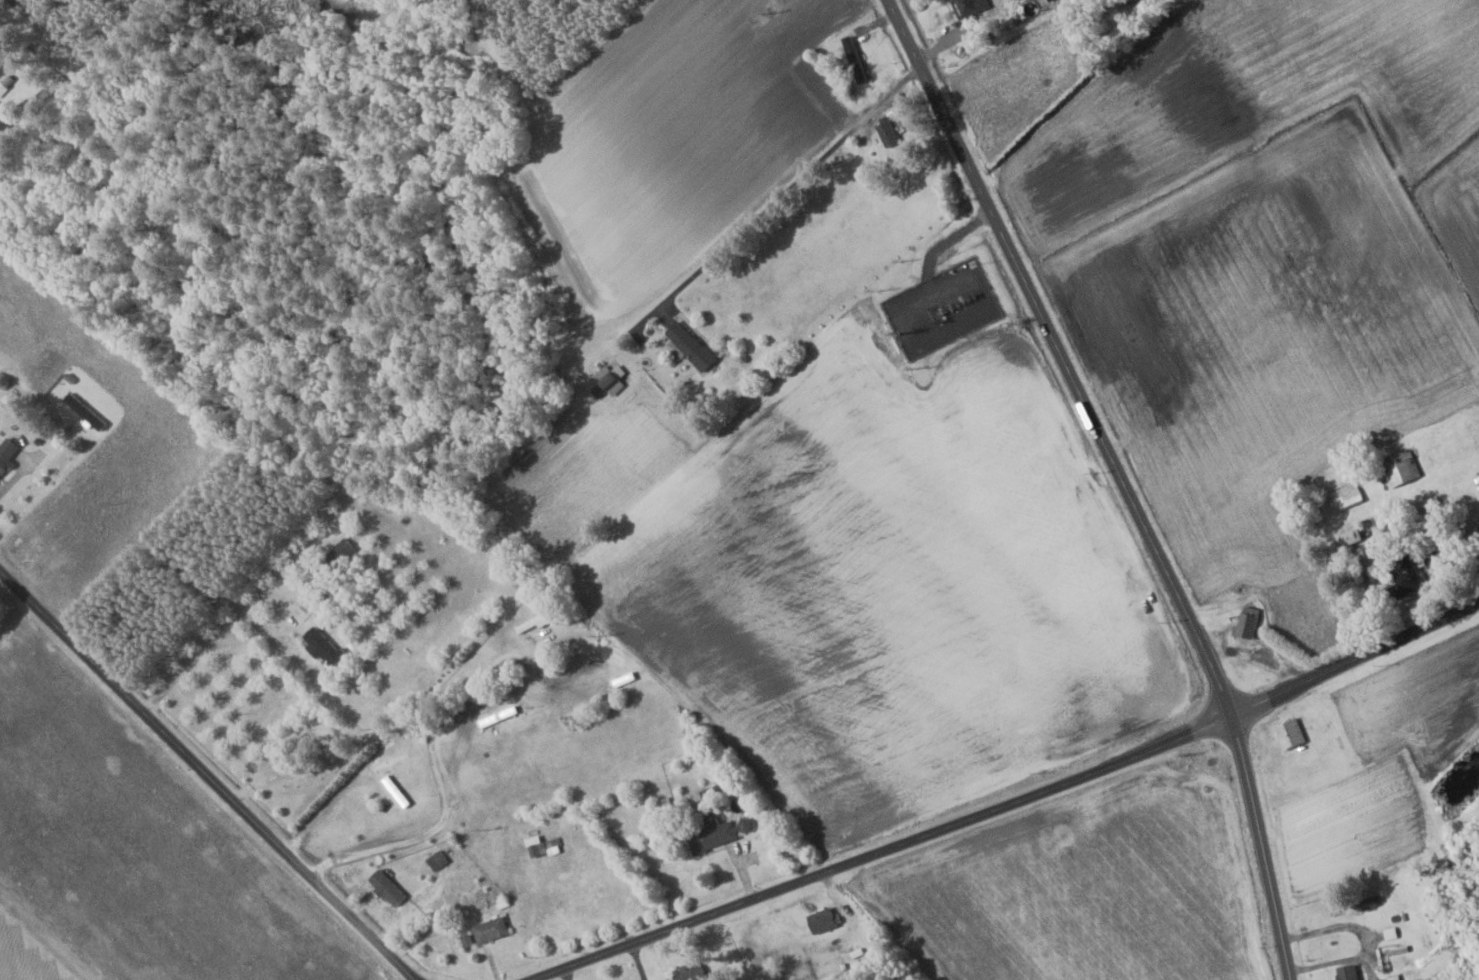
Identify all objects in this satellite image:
building: (967, 7)
building: (855, 64)
building: (885, 131)
building: (686, 345)
building: (9, 455)
building: (1398, 466)
road: (1121, 478)
building: (1344, 497)
building: (1348, 535)
building: (336, 553)
building: (1405, 575)
building: (1245, 622)
building: (530, 623)
building: (317, 642)
building: (622, 678)
building: (495, 716)
building: (1288, 733)
road: (208, 779)
building: (393, 791)
road: (1009, 803)
building: (715, 833)
road: (425, 835)
building: (548, 847)
building: (532, 850)
building: (435, 860)
building: (384, 888)
building: (1365, 903)
building: (818, 921)
building: (487, 930)
building: (1345, 972)
building: (679, 976)

